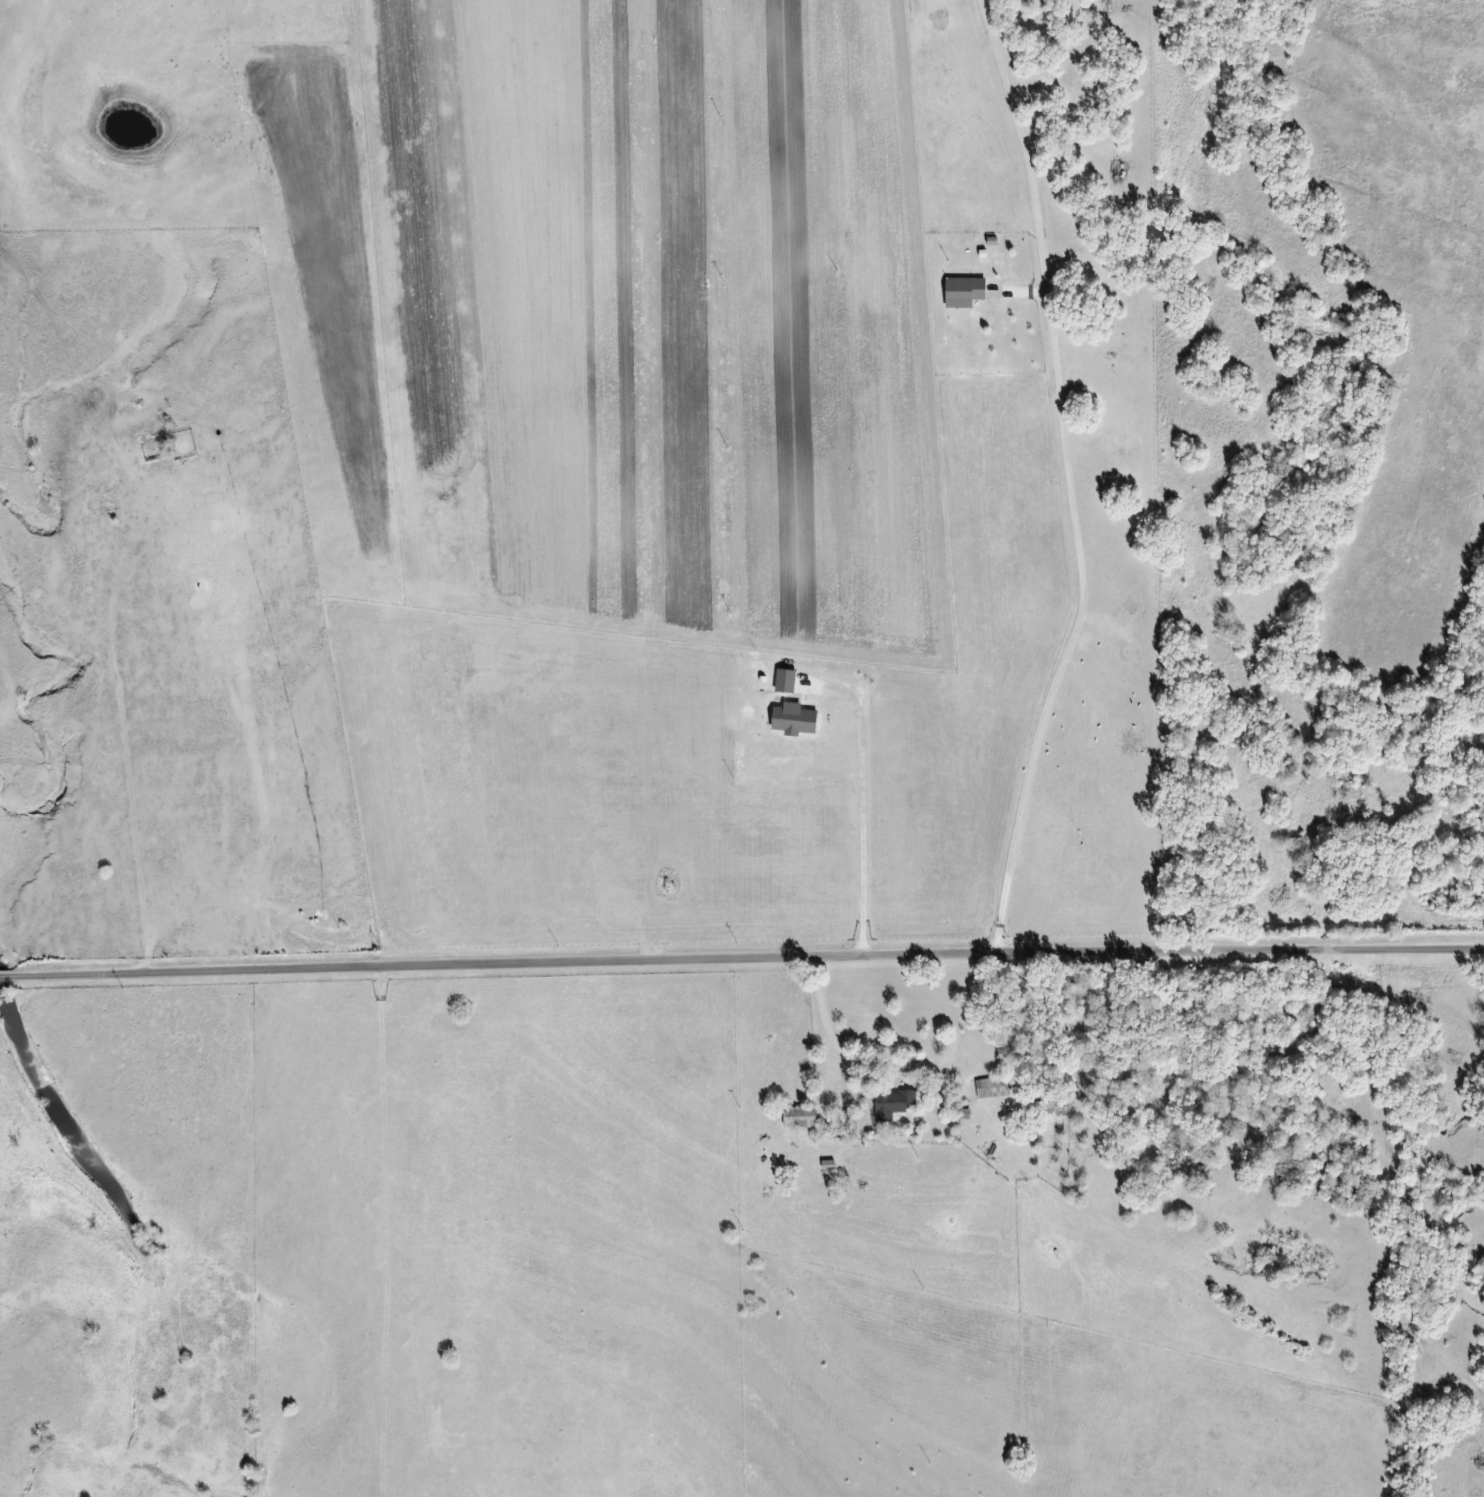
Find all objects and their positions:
building: (964, 292)
road: (1067, 476)
building: (785, 681)
building: (793, 720)
road: (741, 951)
building: (992, 1088)
building: (892, 1104)
building: (964, 1115)
building: (799, 1118)

